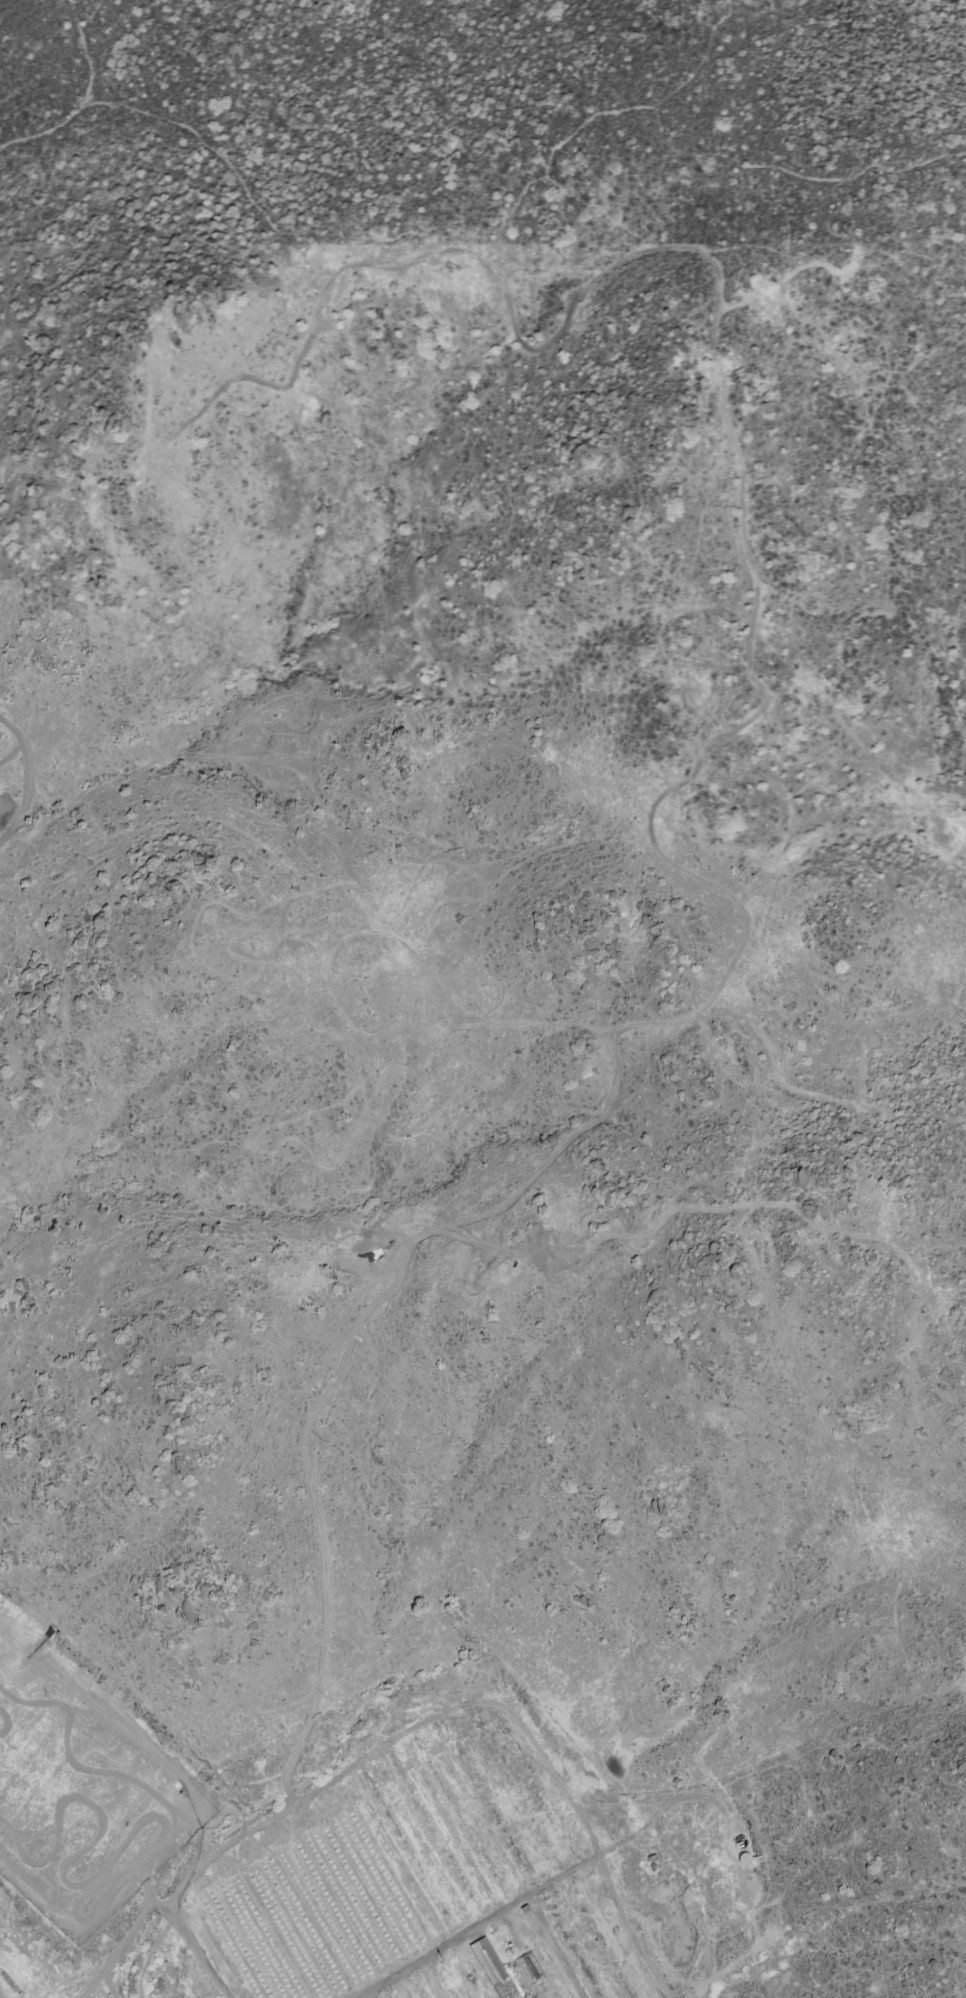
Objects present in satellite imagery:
road: (492, 1917)
road: (129, 1937)
road: (196, 1948)
road: (401, 1987)

